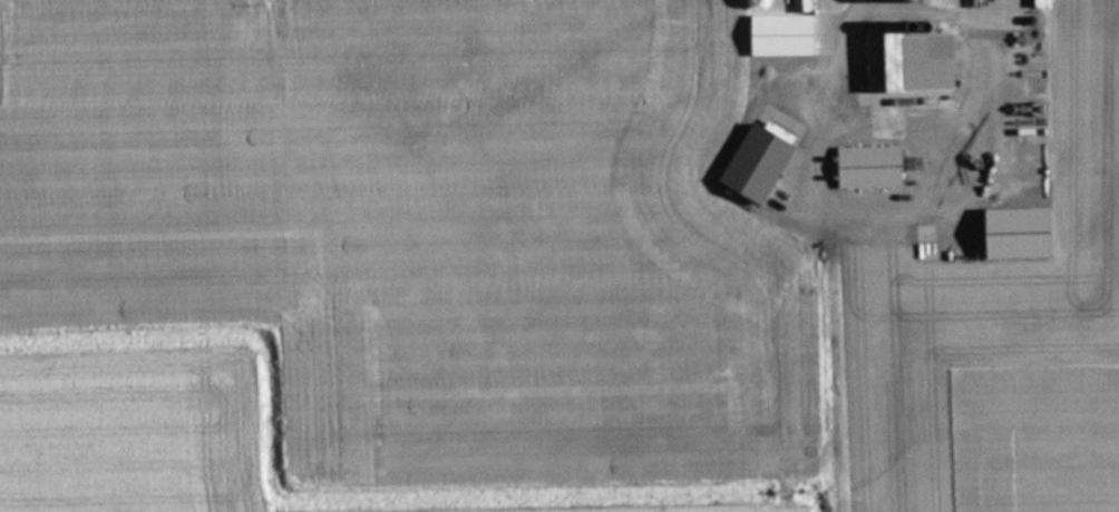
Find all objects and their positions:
building: (789, 32)
building: (915, 59)
building: (763, 161)
building: (907, 166)

